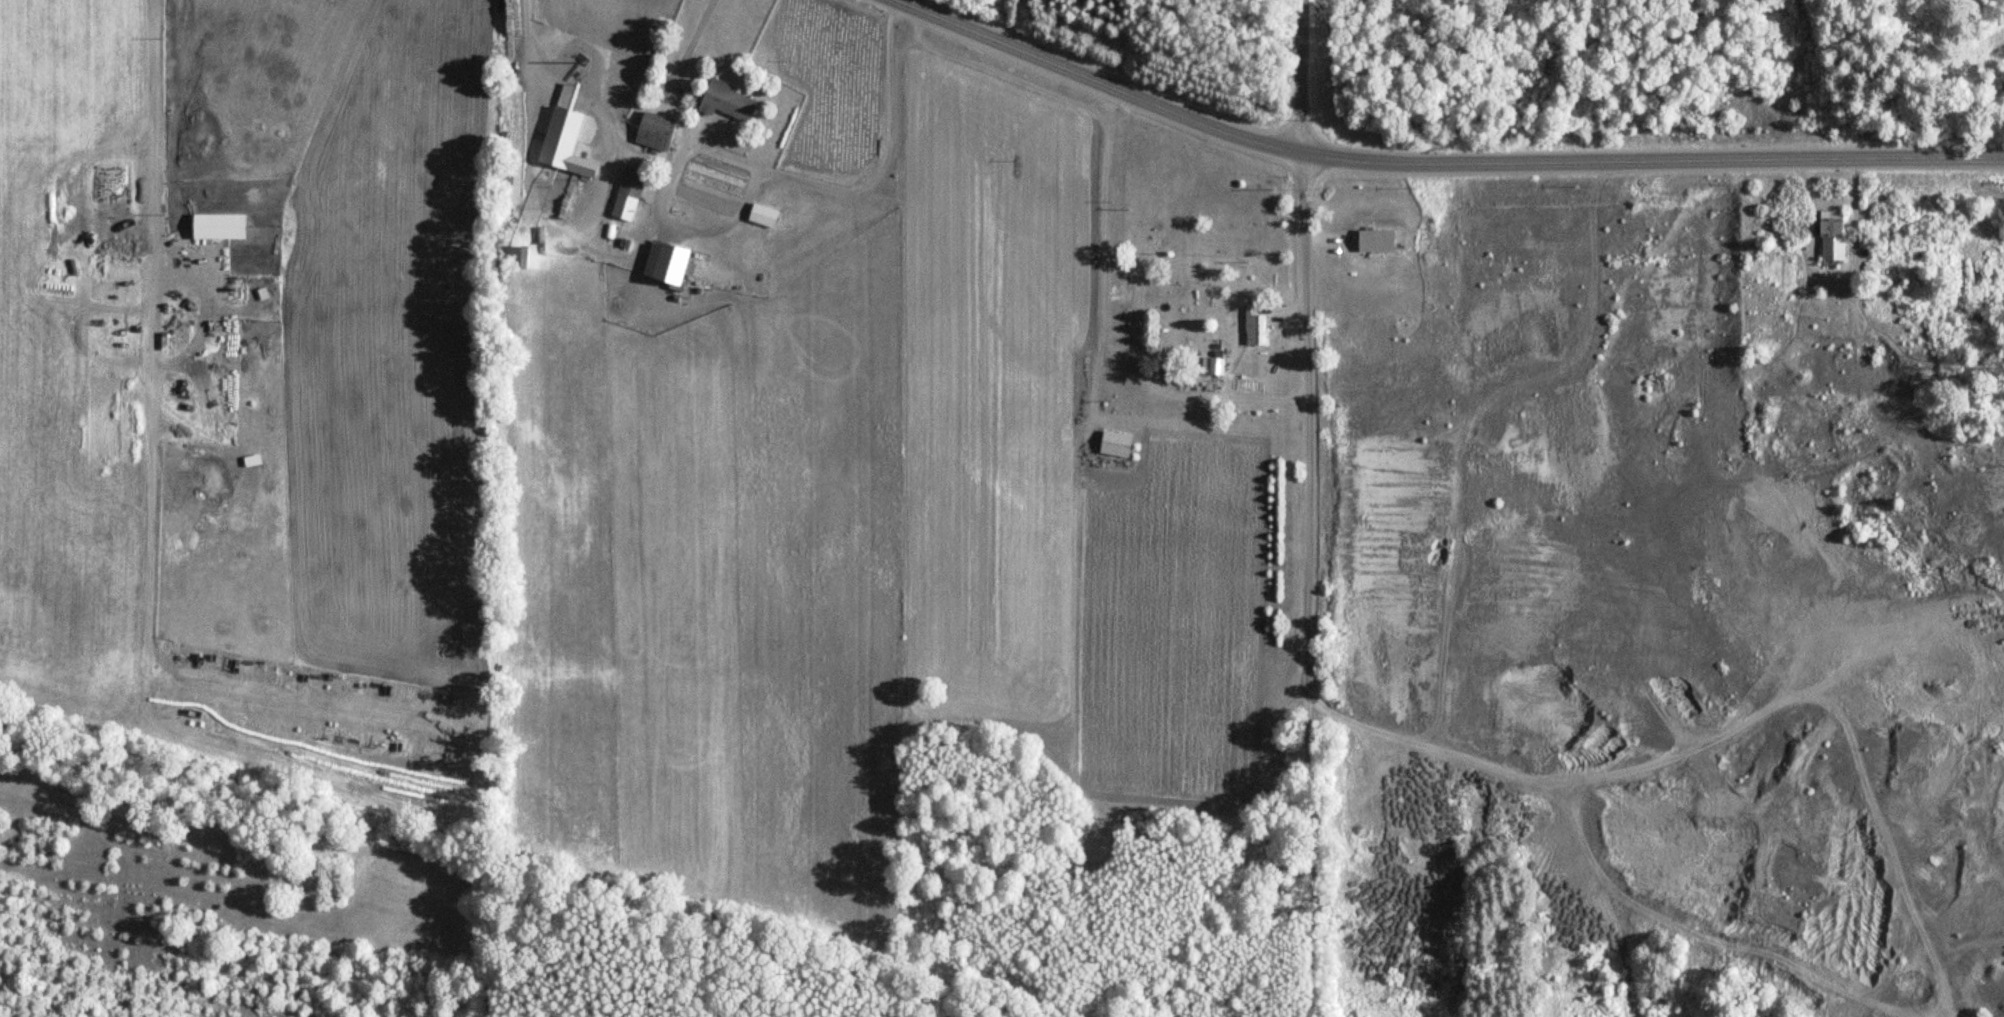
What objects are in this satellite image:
road: (1298, 52)
building: (728, 101)
building: (655, 131)
road: (1298, 151)
road: (1443, 160)
building: (631, 182)
road: (742, 206)
building: (1833, 234)
building: (1376, 240)
building: (1254, 327)
building: (1215, 367)
road: (1474, 424)
building: (1116, 444)
road: (1309, 445)
quarry: (1662, 612)
road: (1374, 727)
road: (1664, 754)
road: (1515, 786)
road: (1306, 855)

